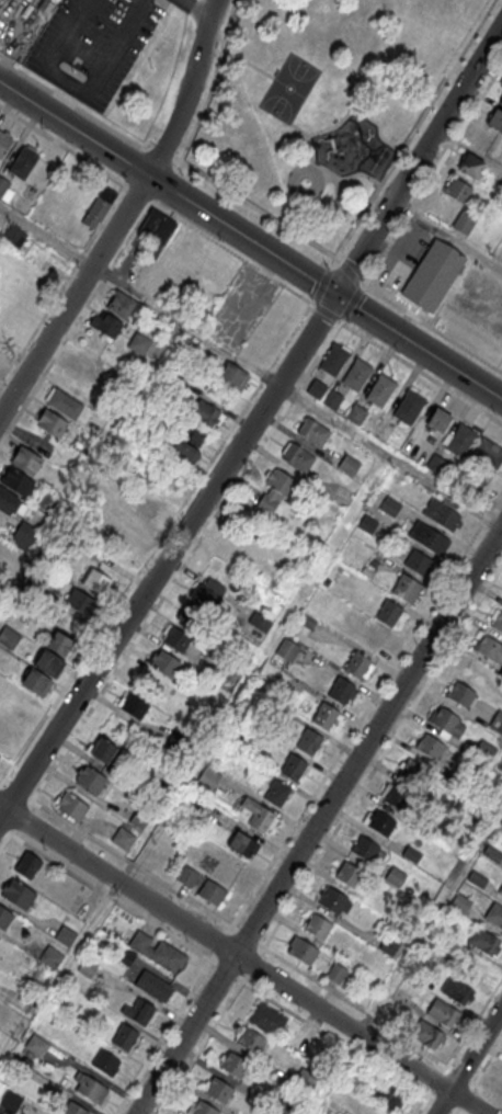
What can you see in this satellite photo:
road: (197, 7)
parking lot: (92, 45)
road: (250, 62)
road: (214, 81)
park: (289, 87)
road: (80, 92)
building: (501, 100)
park: (324, 101)
road: (361, 109)
road: (88, 114)
building: (495, 120)
building: (339, 140)
building: (4, 141)
road: (62, 146)
building: (23, 161)
road: (315, 162)
building: (470, 164)
road: (358, 173)
building: (5, 189)
building: (457, 189)
road: (298, 200)
building: (99, 206)
road: (366, 206)
road: (145, 211)
road: (123, 214)
building: (464, 221)
building: (156, 231)
road: (447, 235)
road: (46, 236)
building: (14, 237)
road: (250, 240)
road: (231, 252)
building: (432, 275)
traffic signals: (335, 294)
road: (389, 299)
building: (123, 306)
parking lot: (241, 308)
building: (105, 323)
building: (138, 343)
building: (186, 344)
building: (334, 359)
building: (84, 362)
road: (422, 372)
building: (356, 373)
building: (233, 376)
building: (317, 388)
building: (380, 389)
road: (297, 396)
building: (333, 399)
building: (64, 401)
building: (409, 407)
building: (356, 414)
building: (438, 419)
road: (253, 421)
building: (52, 422)
building: (312, 431)
building: (191, 436)
building: (460, 440)
building: (488, 454)
building: (298, 456)
building: (26, 459)
building: (436, 463)
building: (349, 465)
building: (16, 481)
building: (283, 482)
building: (9, 500)
building: (390, 505)
building: (442, 513)
building: (140, 520)
building: (367, 524)
road: (166, 531)
building: (24, 535)
building: (429, 536)
building: (0, 539)
building: (418, 561)
building: (96, 581)
building: (406, 587)
building: (206, 598)
building: (80, 602)
building: (388, 613)
building: (497, 618)
building: (9, 637)
building: (176, 638)
building: (60, 644)
building: (490, 649)
building: (286, 650)
building: (49, 662)
building: (164, 662)
building: (356, 664)
building: (36, 681)
building: (341, 690)
building: (461, 693)
building: (135, 705)
road: (366, 709)
building: (324, 715)
building: (446, 720)
building: (497, 721)
building: (309, 741)
building: (430, 746)
building: (103, 749)
building: (484, 752)
road: (383, 754)
building: (293, 766)
building: (91, 778)
building: (207, 780)
building: (277, 793)
building: (390, 793)
building: (72, 806)
building: (259, 816)
road: (318, 819)
building: (381, 821)
building: (500, 827)
building: (123, 837)
building: (243, 844)
building: (365, 848)
building: (492, 852)
building: (411, 853)
building: (27, 865)
building: (349, 874)
building: (395, 876)
building: (476, 878)
building: (202, 886)
building: (501, 890)
building: (18, 894)
building: (333, 899)
building: (460, 901)
building: (494, 914)
building: (4, 918)
building: (317, 927)
building: (65, 934)
road: (175, 939)
building: (483, 941)
building: (156, 951)
building: (301, 951)
road: (242, 959)
building: (469, 966)
building: (336, 974)
building: (153, 986)
building: (456, 990)
building: (140, 1011)
building: (442, 1013)
building: (267, 1020)
road: (475, 1023)
building: (426, 1034)
building: (124, 1036)
road: (162, 1037)
building: (251, 1041)
building: (300, 1044)
building: (36, 1045)
road: (349, 1046)
road: (201, 1047)
road: (468, 1059)
building: (106, 1061)
road: (488, 1061)
building: (233, 1065)
building: (306, 1079)
building: (89, 1087)
building: (219, 1090)
building: (389, 1094)
building: (13, 1101)
building: (333, 1106)
building: (73, 1109)
building: (203, 1109)
road: (455, 1113)

